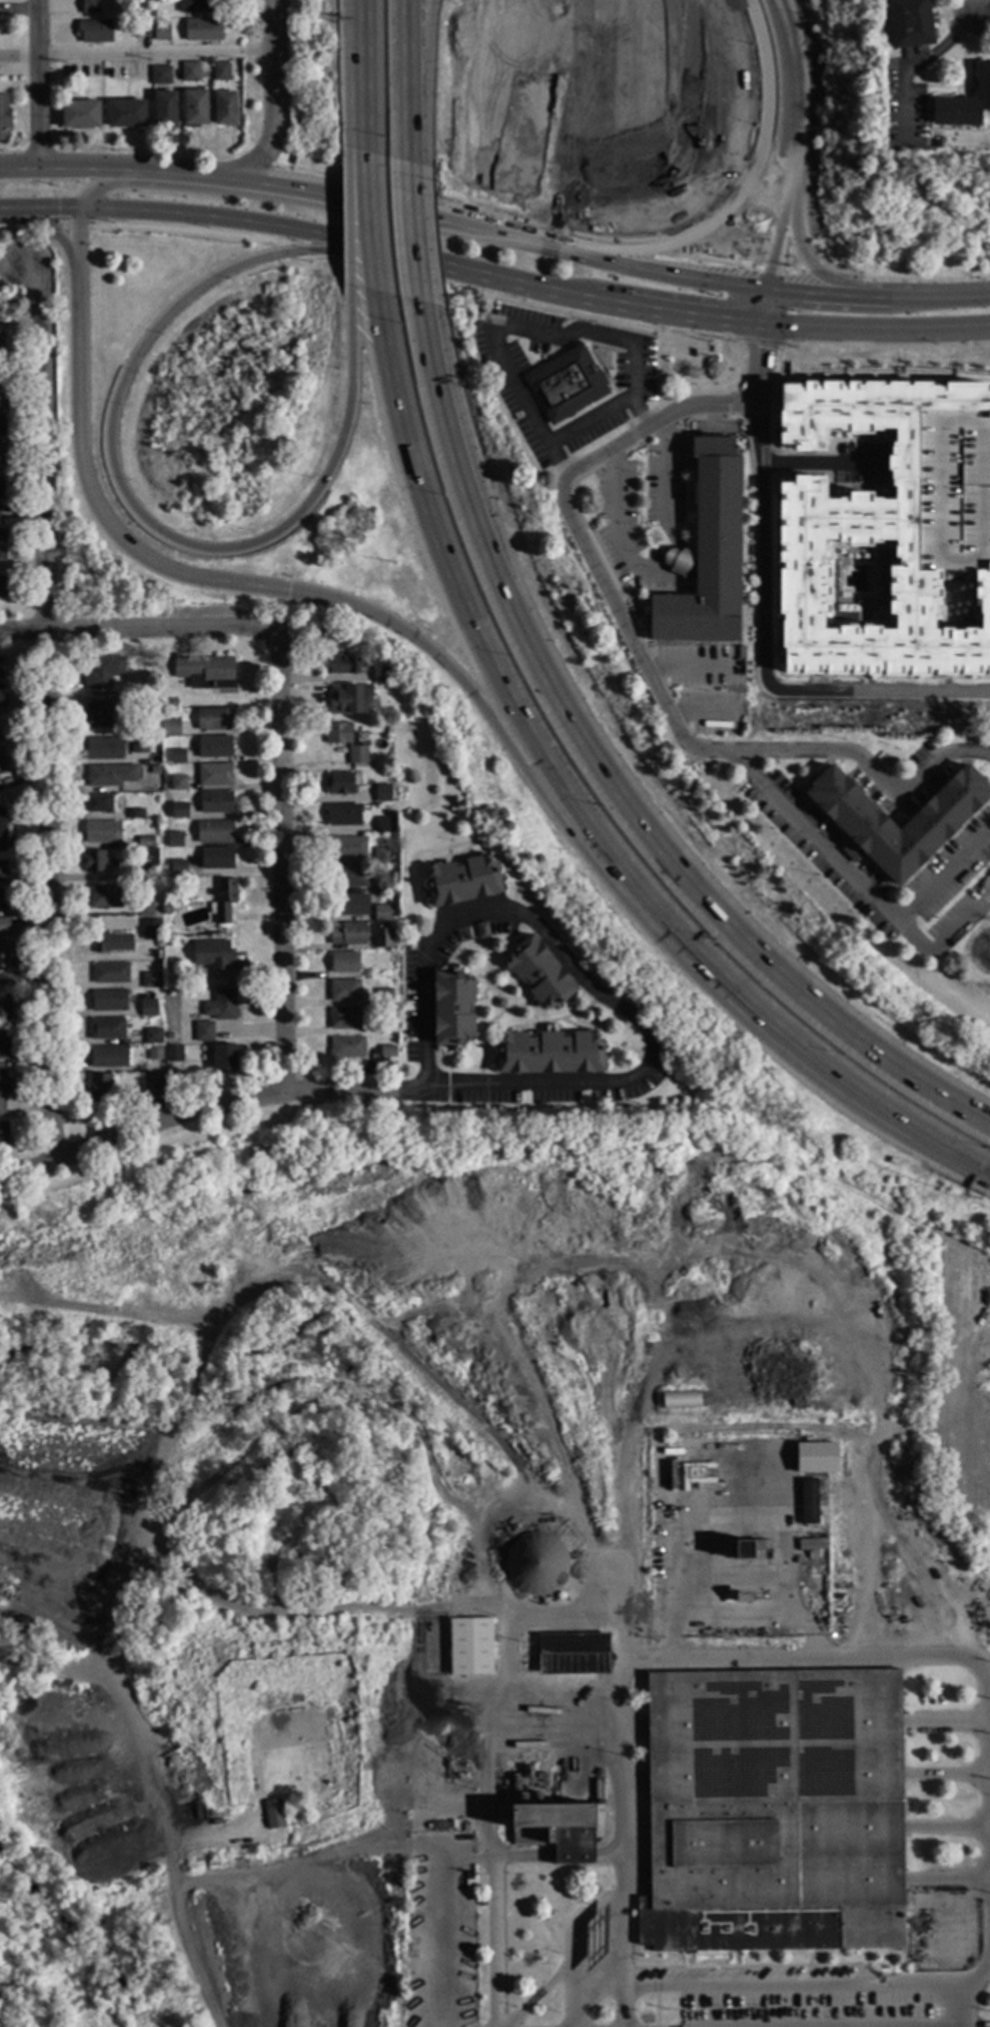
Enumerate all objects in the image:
road: (984, 1)
building: (197, 6)
building: (90, 7)
building: (909, 23)
building: (141, 31)
building: (203, 31)
building: (94, 32)
building: (161, 34)
road: (273, 38)
road: (156, 54)
road: (20, 57)
road: (924, 62)
road: (343, 69)
building: (189, 73)
building: (221, 73)
building: (160, 76)
road: (368, 76)
road: (40, 86)
building: (964, 104)
building: (194, 109)
building: (164, 110)
building: (225, 110)
building: (80, 115)
building: (126, 115)
building: (4, 119)
road: (347, 212)
traffic signals: (78, 213)
road: (373, 222)
road: (443, 222)
road: (383, 254)
road: (807, 267)
road: (904, 278)
traffic signals: (769, 289)
road: (937, 297)
building: (1, 303)
road: (766, 307)
road: (791, 320)
road: (21, 323)
traffic signals: (763, 326)
road: (522, 328)
road: (876, 332)
building: (1, 343)
road: (890, 346)
building: (567, 384)
building: (0, 399)
road: (591, 425)
building: (1, 426)
building: (2, 454)
road: (823, 463)
road: (660, 475)
building: (1, 489)
parking garage: (953, 493)
road: (610, 514)
building: (886, 518)
building: (2, 545)
building: (706, 555)
traffic signals: (304, 584)
building: (2, 587)
road: (125, 627)
road: (762, 654)
building: (341, 665)
building: (1, 668)
road: (642, 669)
building: (103, 673)
building: (205, 673)
building: (380, 673)
road: (683, 674)
building: (397, 683)
building: (1, 699)
building: (348, 699)
building: (128, 701)
building: (173, 703)
road: (44, 715)
building: (96, 716)
road: (696, 718)
building: (214, 720)
building: (169, 729)
building: (345, 741)
building: (150, 742)
building: (138, 746)
building: (214, 747)
building: (103, 749)
building: (177, 757)
building: (1, 760)
building: (154, 771)
road: (872, 771)
building: (111, 776)
building: (215, 776)
building: (161, 782)
building: (178, 784)
building: (128, 785)
building: (339, 785)
building: (381, 793)
building: (215, 803)
road: (579, 804)
building: (99, 805)
building: (179, 812)
building: (943, 813)
building: (135, 815)
building: (343, 816)
road: (556, 823)
building: (383, 826)
building: (2, 831)
building: (102, 833)
building: (213, 833)
building: (174, 840)
building: (145, 843)
building: (346, 848)
road: (282, 850)
building: (382, 857)
building: (216, 859)
building: (94, 862)
building: (177, 868)
building: (2, 870)
building: (141, 874)
road: (940, 877)
building: (347, 878)
building: (462, 881)
building: (383, 885)
building: (104, 898)
building: (2, 902)
building: (224, 902)
building: (348, 906)
building: (144, 909)
building: (165, 911)
building: (382, 914)
building: (151, 930)
building: (482, 931)
building: (349, 935)
building: (383, 939)
building: (112, 944)
building: (4, 946)
building: (179, 951)
building: (213, 957)
building: (344, 963)
building: (110, 973)
building: (539, 974)
road: (583, 976)
building: (150, 981)
building: (344, 991)
building: (383, 997)
building: (107, 1002)
building: (5, 1003)
building: (499, 1004)
building: (220, 1006)
building: (148, 1009)
building: (452, 1009)
building: (344, 1019)
building: (378, 1028)
building: (106, 1029)
building: (203, 1033)
building: (152, 1037)
building: (4, 1041)
building: (346, 1048)
building: (387, 1052)
building: (154, 1054)
building: (549, 1054)
building: (173, 1055)
building: (224, 1057)
building: (108, 1058)
building: (152, 1082)
building: (3, 1089)
building: (101, 1090)
road: (208, 1109)
building: (3, 1135)
building: (816, 1457)
building: (699, 1476)
building: (809, 1501)
road: (890, 1534)
building: (752, 1550)
building: (811, 1555)
building: (535, 1564)
building: (743, 1599)
building: (470, 1647)
building: (572, 1654)
road: (809, 1657)
road: (947, 1722)
road: (948, 1774)
building: (294, 1804)
building: (774, 1812)
building: (273, 1816)
road: (950, 1828)
building: (558, 1830)
road: (573, 1854)
road: (608, 1854)
road: (461, 1857)
road: (303, 1860)
building: (468, 1875)
road: (948, 1879)
building: (468, 1886)
road: (175, 1896)
building: (481, 1903)
road: (490, 1909)
road: (436, 1936)
road: (765, 1987)
road: (623, 2009)

